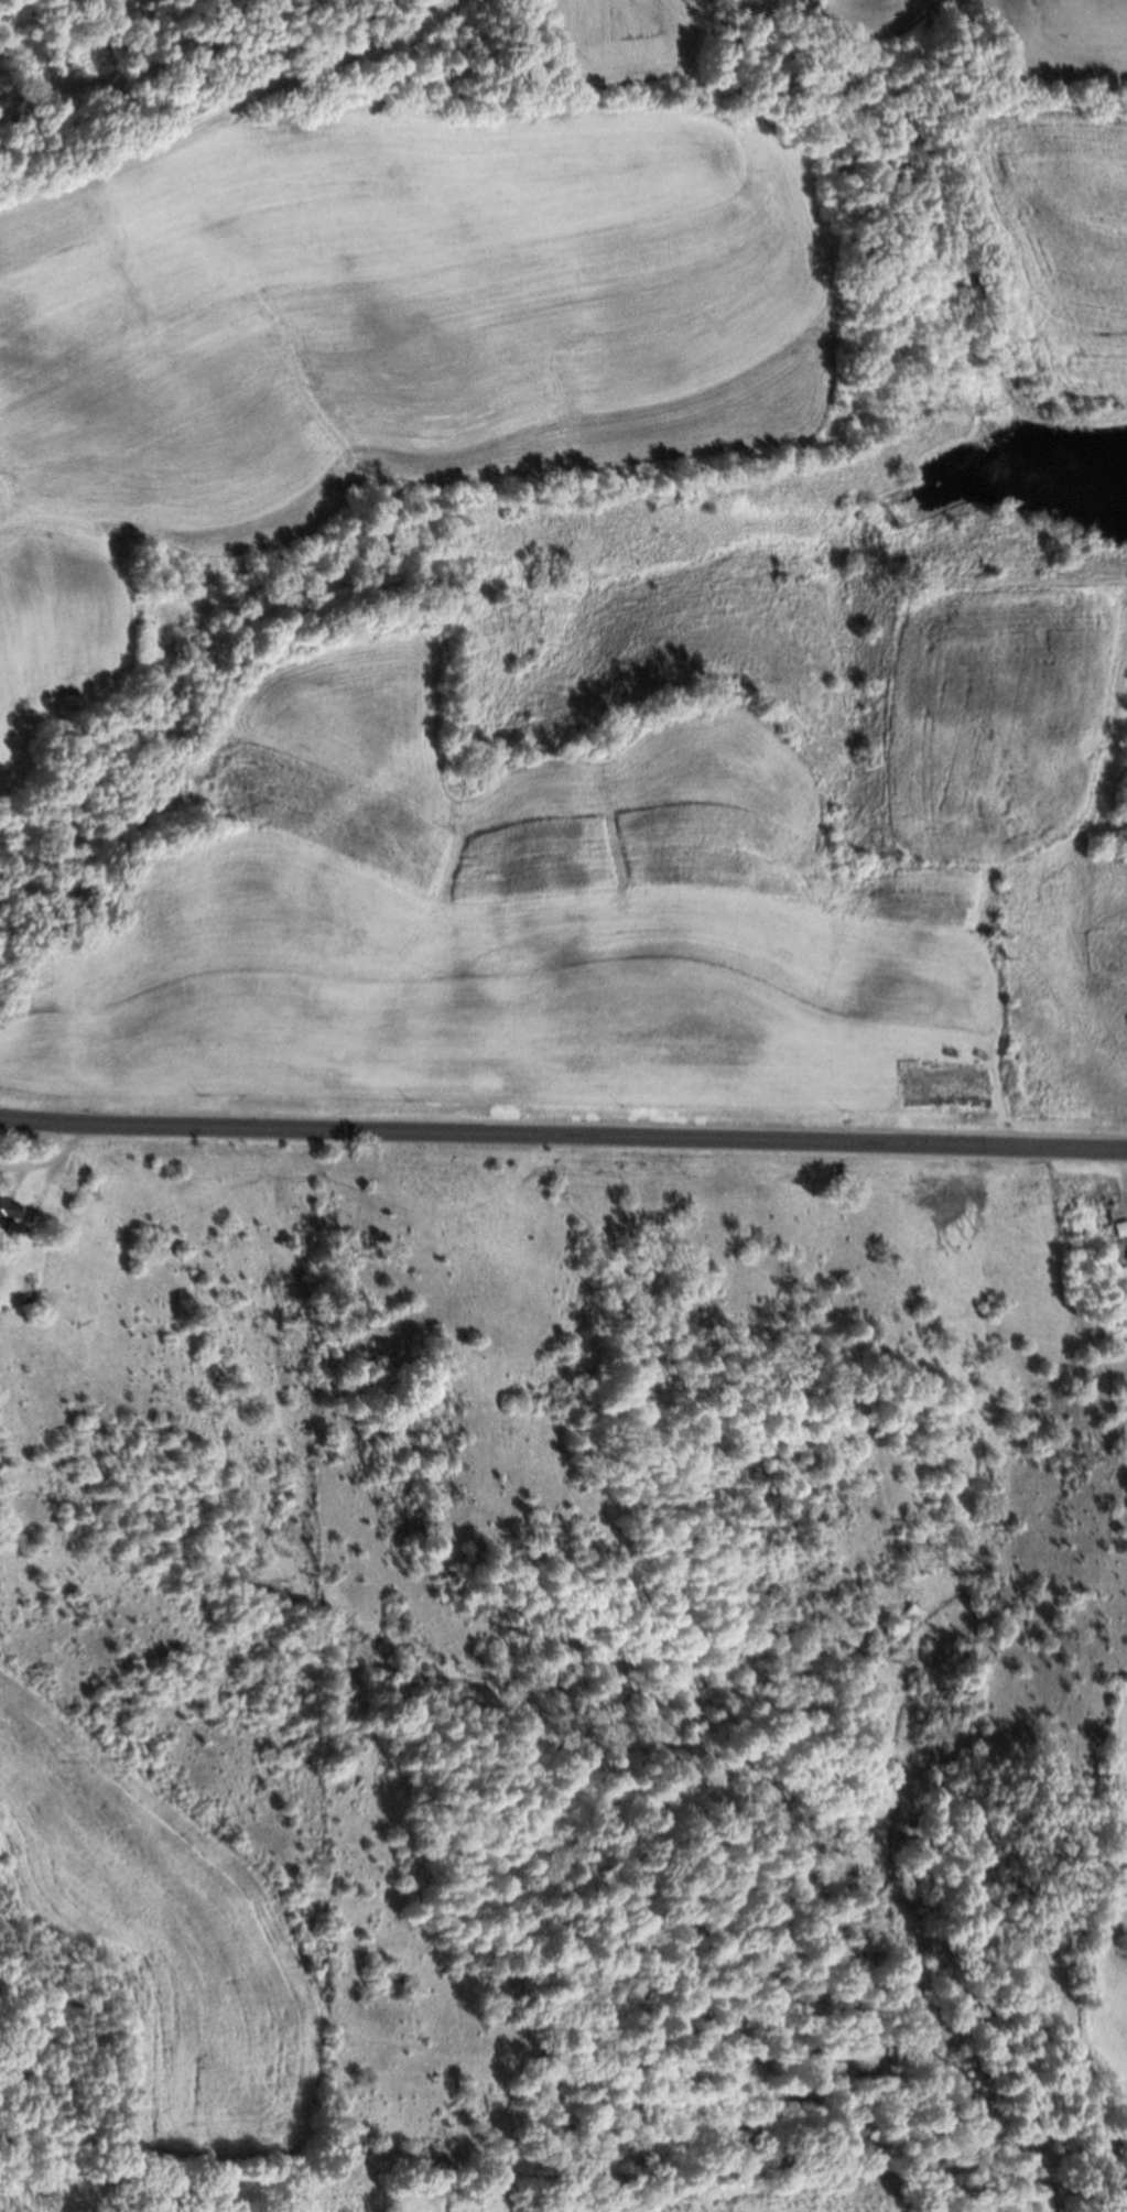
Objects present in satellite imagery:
road: (225, 110)
road: (563, 1137)
building: (8, 1218)

